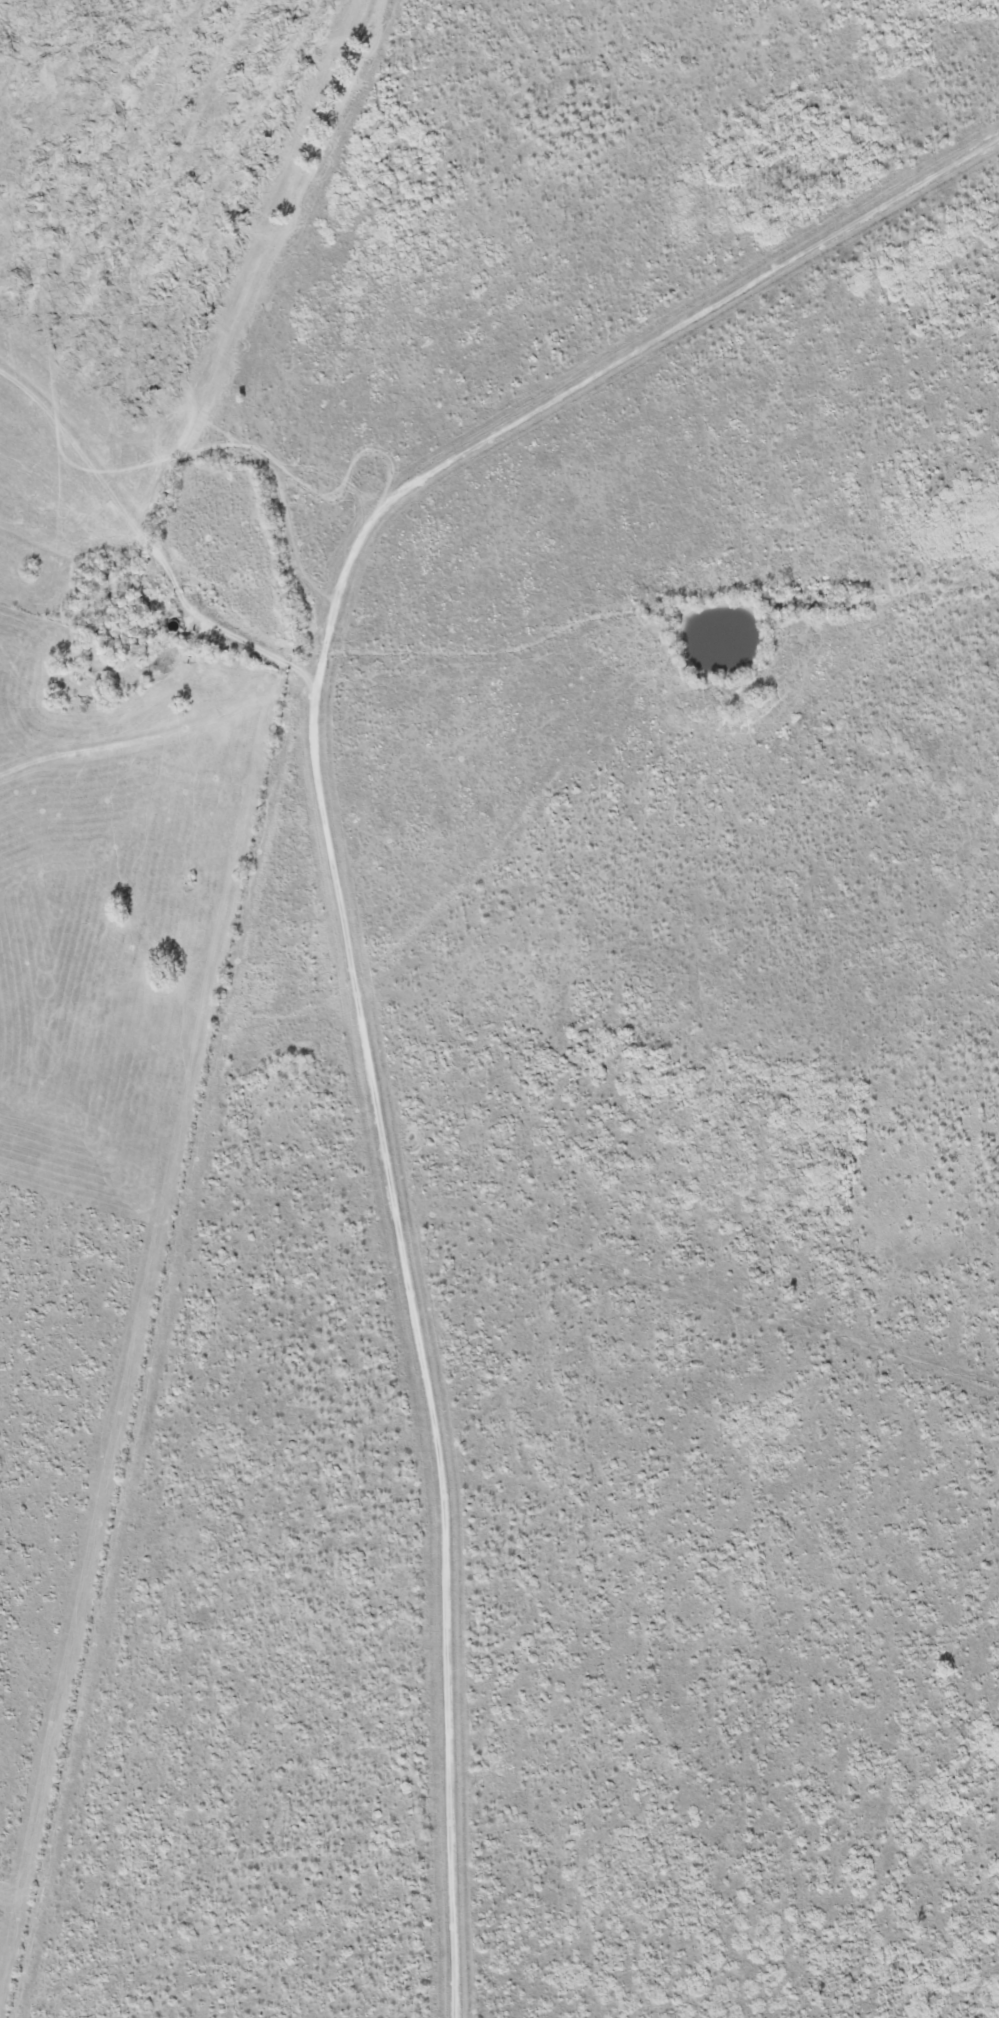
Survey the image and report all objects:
road: (149, 564)
road: (341, 908)

